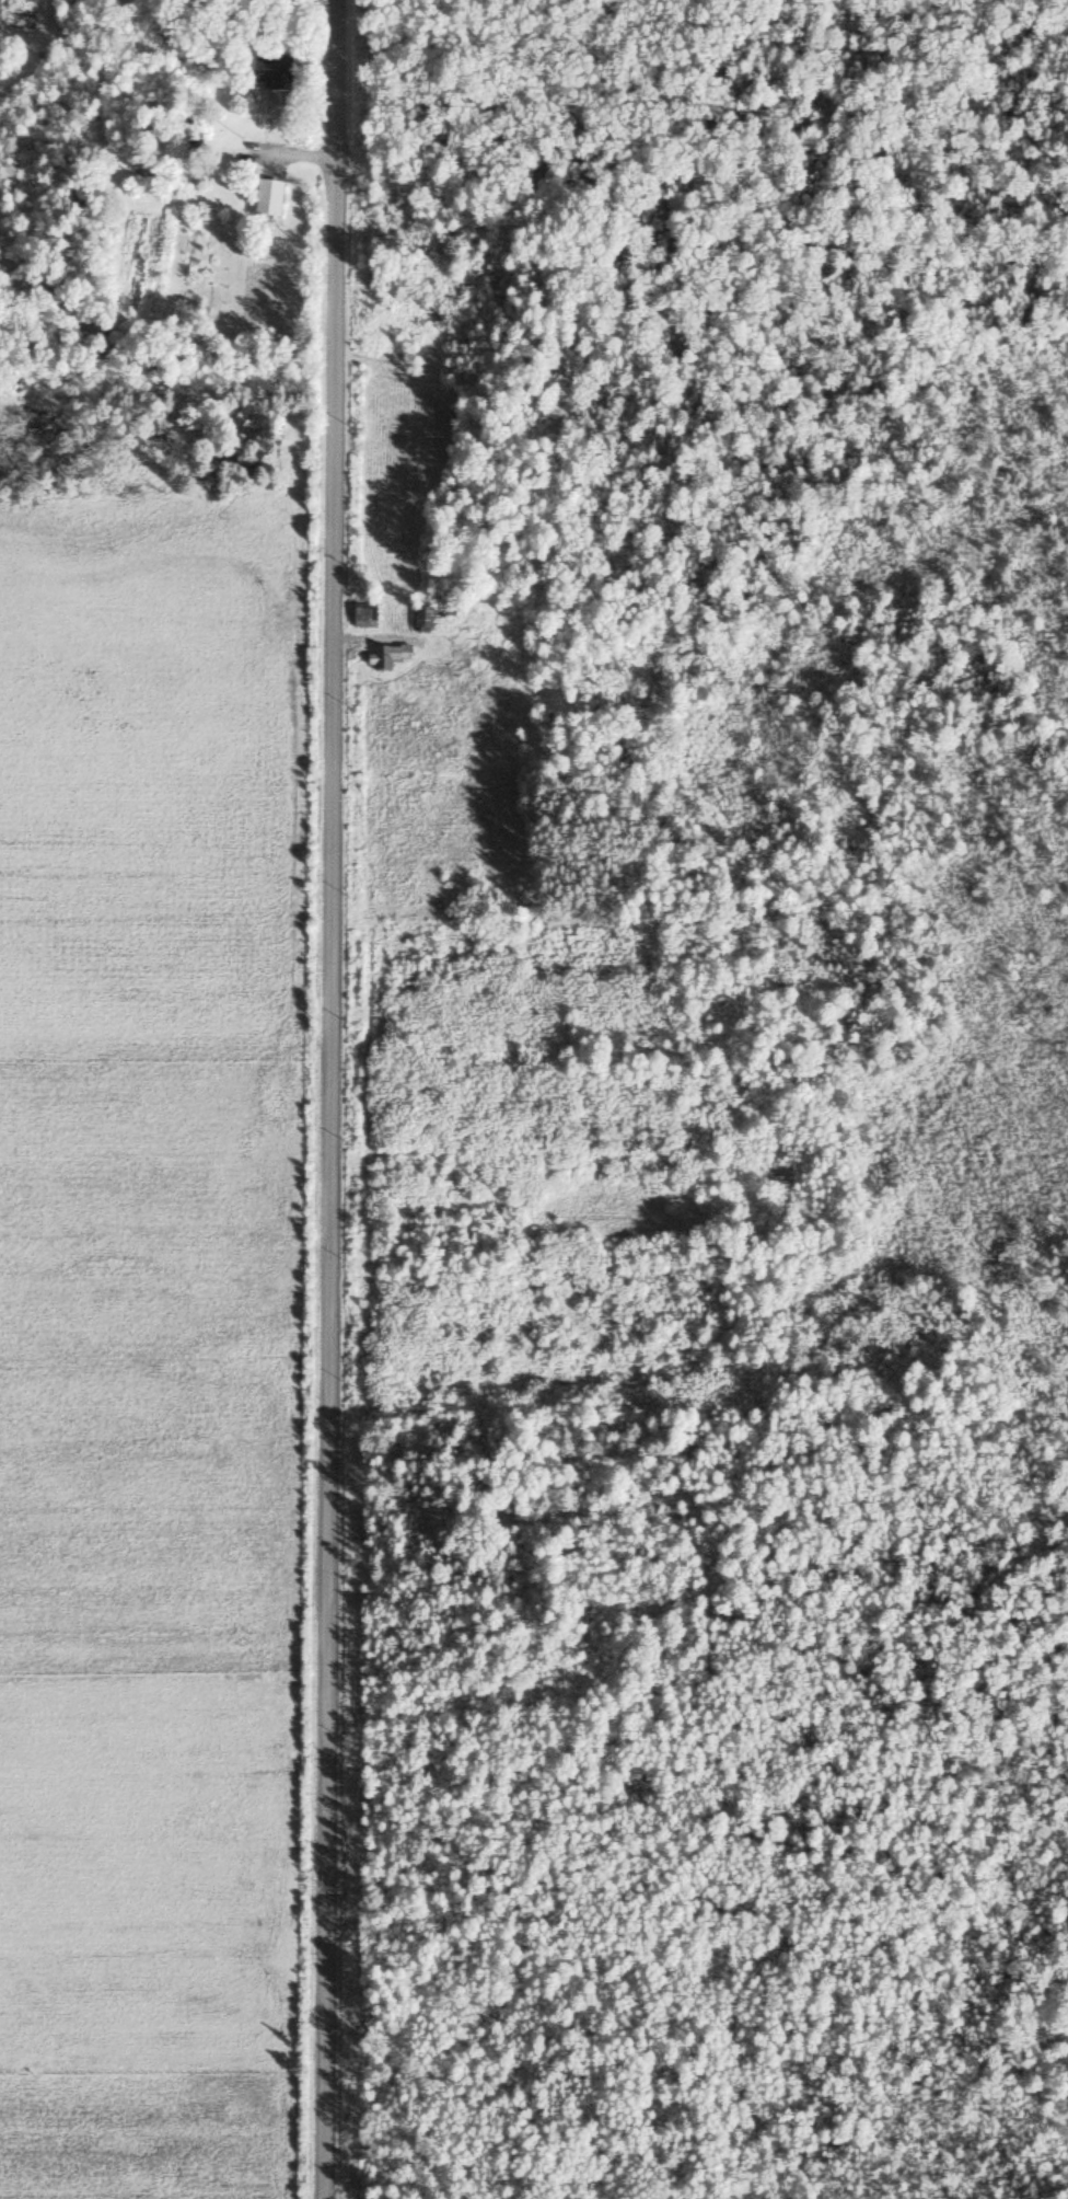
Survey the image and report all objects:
building: (270, 76)
building: (267, 200)
building: (363, 615)
building: (421, 620)
building: (385, 657)
road: (335, 1098)

